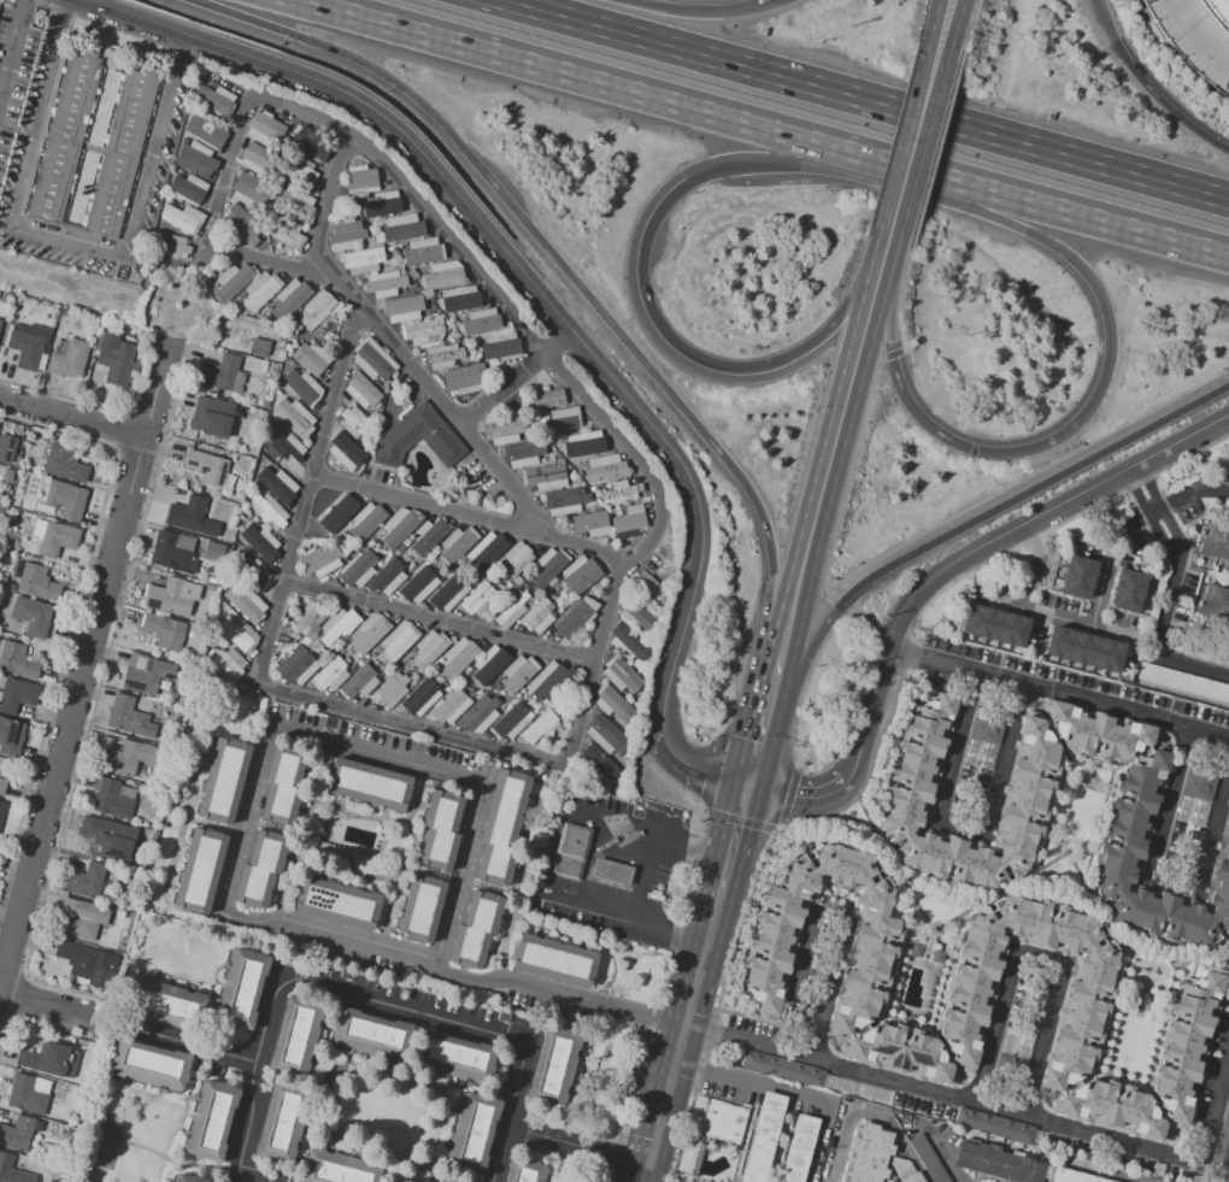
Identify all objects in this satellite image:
road: (695, 11)
road: (1098, 13)
building: (1216, 13)
road: (942, 29)
road: (952, 30)
road: (1193, 39)
building: (1192, 40)
parking garage: (1192, 40)
road: (12, 49)
road: (590, 80)
building: (212, 83)
road: (1158, 96)
building: (214, 99)
road: (866, 108)
building: (206, 128)
building: (264, 128)
building: (66, 131)
building: (311, 143)
building: (123, 146)
road: (915, 146)
building: (195, 159)
building: (258, 159)
road: (780, 164)
road: (907, 167)
building: (298, 171)
road: (228, 172)
building: (360, 181)
traffic signals: (687, 182)
building: (187, 188)
building: (249, 190)
building: (382, 204)
building: (295, 205)
road: (1083, 217)
building: (183, 218)
building: (242, 224)
building: (404, 228)
building: (287, 234)
building: (345, 234)
road: (888, 241)
road: (69, 242)
building: (174, 247)
building: (390, 247)
building: (394, 252)
building: (423, 252)
building: (363, 260)
road: (514, 261)
road: (271, 264)
building: (412, 274)
building: (442, 275)
road: (574, 277)
building: (207, 280)
building: (231, 282)
building: (384, 283)
building: (260, 290)
building: (289, 299)
building: (460, 299)
building: (402, 307)
building: (318, 308)
building: (0, 321)
building: (481, 322)
building: (422, 331)
road: (390, 343)
building: (27, 345)
building: (259, 347)
building: (501, 347)
building: (442, 355)
building: (114, 357)
building: (312, 358)
building: (67, 359)
building: (372, 360)
building: (243, 365)
road: (718, 366)
building: (222, 374)
road: (514, 375)
building: (464, 378)
road: (568, 381)
traffic signals: (1228, 384)
building: (301, 387)
building: (363, 392)
building: (545, 399)
road: (70, 414)
building: (211, 417)
building: (294, 417)
building: (563, 419)
building: (354, 423)
road: (1077, 424)
building: (501, 430)
building: (418, 437)
building: (286, 445)
building: (580, 446)
building: (7, 447)
building: (345, 451)
building: (523, 453)
road: (831, 453)
building: (64, 463)
building: (207, 467)
building: (605, 469)
building: (1225, 469)
building: (8, 476)
building: (545, 476)
building: (577, 481)
building: (277, 484)
building: (593, 488)
road: (1029, 489)
building: (621, 493)
building: (65, 499)
building: (564, 500)
road: (1166, 505)
building: (267, 511)
building: (335, 516)
road: (472, 516)
building: (190, 517)
building: (366, 521)
building: (629, 522)
building: (588, 524)
building: (399, 527)
road: (1135, 528)
building: (427, 536)
building: (57, 539)
building: (1213, 541)
building: (405, 542)
building: (260, 543)
building: (457, 543)
road: (982, 547)
building: (400, 548)
building: (171, 551)
building: (213, 552)
building: (486, 552)
building: (319, 560)
building: (513, 560)
road: (1037, 564)
building: (411, 565)
building: (547, 566)
building: (358, 569)
building: (252, 572)
building: (580, 575)
building: (387, 577)
building: (1077, 578)
building: (212, 580)
building: (2, 581)
building: (37, 583)
building: (646, 583)
building: (418, 586)
building: (10, 588)
building: (211, 588)
building: (1127, 590)
building: (448, 593)
building: (169, 598)
building: (478, 599)
building: (246, 604)
building: (1215, 605)
building: (510, 607)
building: (637, 613)
building: (33, 616)
building: (537, 616)
building: (574, 616)
building: (310, 617)
road: (1066, 618)
road: (1160, 619)
road: (440, 621)
building: (337, 624)
building: (994, 624)
building: (164, 630)
road: (1115, 630)
building: (370, 633)
building: (237, 634)
building: (399, 640)
building: (630, 641)
road: (267, 648)
building: (429, 648)
building: (1083, 648)
building: (1196, 648)
road: (82, 651)
building: (458, 658)
building: (17, 660)
building: (488, 664)
building: (227, 665)
building: (296, 666)
road: (796, 668)
building: (145, 674)
building: (330, 674)
building: (518, 674)
building: (623, 674)
road: (778, 675)
building: (359, 682)
building: (551, 682)
building: (1183, 682)
building: (390, 690)
road: (1057, 693)
building: (17, 695)
building: (421, 696)
building: (616, 705)
building: (449, 707)
building: (559, 711)
road: (769, 713)
building: (478, 715)
building: (128, 717)
building: (510, 722)
building: (986, 725)
building: (540, 727)
building: (608, 734)
building: (11, 736)
road: (954, 747)
building: (128, 757)
road: (755, 759)
road: (1004, 759)
building: (599, 761)
road: (696, 769)
building: (223, 780)
building: (1196, 781)
building: (369, 784)
building: (2, 786)
building: (281, 786)
traffic signals: (749, 786)
building: (1136, 793)
road: (801, 795)
building: (112, 798)
road: (1166, 804)
building: (1, 807)
road: (740, 818)
building: (501, 827)
road: (959, 827)
building: (440, 830)
road: (1212, 830)
building: (110, 837)
building: (570, 853)
road: (235, 859)
road: (587, 865)
building: (261, 869)
building: (199, 870)
building: (610, 871)
road: (725, 875)
road: (640, 876)
building: (86, 881)
road: (1171, 886)
building: (336, 904)
building: (422, 908)
road: (830, 917)
building: (81, 918)
building: (475, 928)
building: (916, 951)
building: (936, 957)
building: (552, 959)
road: (1039, 960)
building: (86, 963)
road: (799, 963)
building: (243, 988)
road: (831, 989)
building: (983, 995)
road: (374, 1000)
road: (46, 1004)
building: (165, 1005)
road: (995, 1028)
building: (370, 1033)
building: (294, 1035)
road: (681, 1040)
road: (1043, 1041)
road: (192, 1045)
building: (455, 1055)
building: (49, 1059)
building: (149, 1064)
building: (552, 1068)
building: (781, 1069)
road: (792, 1092)
road: (940, 1092)
building: (25, 1095)
road: (1212, 1102)
road: (868, 1115)
building: (211, 1122)
building: (282, 1122)
building: (723, 1122)
building: (993, 1124)
building: (472, 1131)
building: (19, 1133)
building: (761, 1137)
building: (1222, 1141)
building: (43, 1145)
road: (580, 1147)
building: (798, 1148)
building: (866, 1154)
road: (943, 1154)
building: (928, 1159)
building: (996, 1163)
building: (337, 1168)
building: (902, 1170)
building: (12, 1171)
building: (523, 1171)
road: (1098, 1172)
building: (1072, 1176)
road: (247, 1178)
building: (446, 1178)
building: (184, 1180)

